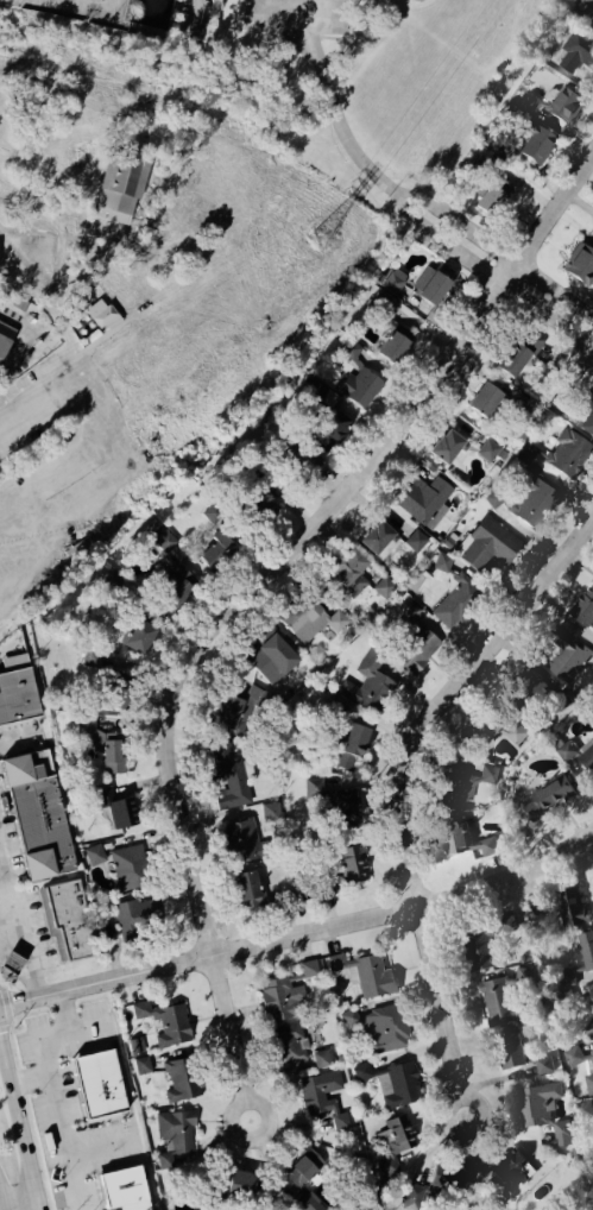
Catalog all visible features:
road: (283, 14)
road: (313, 45)
building: (579, 45)
road: (292, 46)
building: (564, 107)
road: (342, 141)
building: (534, 145)
building: (118, 190)
building: (494, 194)
power tower: (314, 246)
road: (494, 251)
building: (580, 266)
road: (486, 278)
building: (429, 288)
road: (137, 311)
building: (102, 316)
building: (5, 339)
building: (517, 355)
building: (361, 390)
building: (484, 399)
building: (582, 417)
road: (105, 436)
building: (446, 448)
building: (569, 455)
building: (424, 502)
building: (532, 505)
building: (376, 538)
building: (490, 547)
building: (215, 554)
building: (442, 565)
building: (349, 575)
road: (259, 587)
building: (383, 590)
building: (456, 605)
building: (585, 615)
building: (311, 623)
building: (137, 638)
building: (416, 645)
building: (569, 660)
building: (93, 661)
building: (272, 662)
building: (366, 686)
building: (15, 693)
building: (119, 705)
building: (245, 713)
building: (515, 735)
road: (17, 736)
building: (105, 749)
building: (351, 750)
building: (578, 755)
road: (389, 776)
building: (231, 787)
building: (548, 799)
building: (330, 801)
building: (270, 814)
building: (121, 815)
building: (38, 821)
building: (241, 842)
building: (465, 842)
building: (94, 855)
building: (353, 866)
building: (128, 870)
road: (507, 880)
building: (250, 890)
building: (537, 906)
building: (575, 908)
building: (138, 918)
building: (68, 921)
road: (6, 922)
road: (17, 932)
building: (487, 945)
building: (587, 951)
road: (207, 958)
building: (12, 963)
building: (364, 976)
building: (284, 996)
building: (504, 998)
road: (64, 1012)
building: (164, 1025)
building: (377, 1031)
building: (511, 1052)
building: (299, 1053)
building: (578, 1059)
building: (141, 1067)
building: (543, 1067)
road: (49, 1077)
road: (30, 1080)
building: (99, 1083)
building: (175, 1084)
building: (392, 1085)
building: (588, 1086)
road: (468, 1099)
building: (323, 1101)
road: (256, 1102)
building: (585, 1115)
building: (543, 1116)
road: (19, 1124)
building: (396, 1137)
building: (174, 1139)
road: (101, 1145)
building: (303, 1171)
building: (512, 1173)
building: (238, 1186)
building: (124, 1190)
building: (430, 1190)
road: (19, 1203)
road: (0, 1208)

